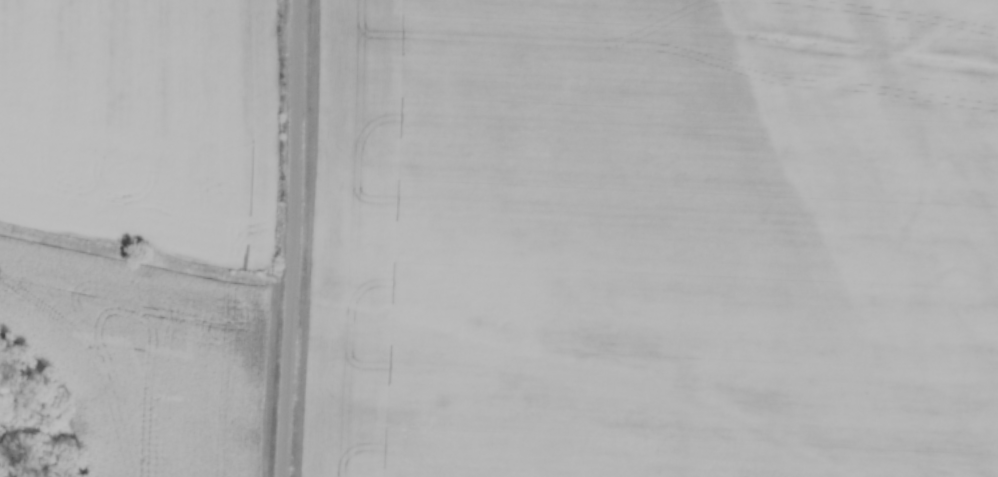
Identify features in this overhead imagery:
road: (284, 238)

